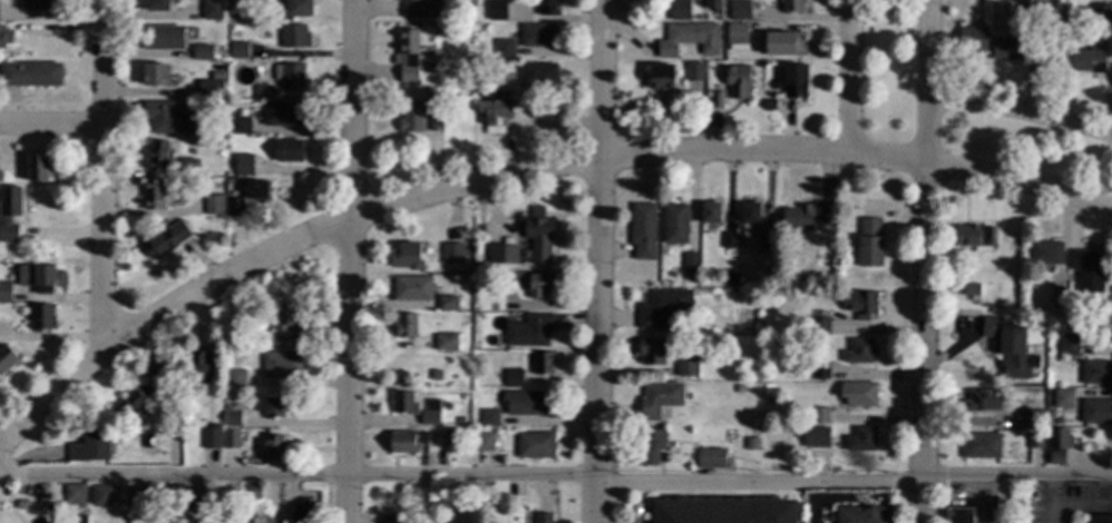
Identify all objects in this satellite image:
building: (1022, 0)
building: (266, 1)
building: (710, 3)
building: (39, 4)
building: (157, 4)
building: (793, 6)
building: (548, 7)
building: (297, 8)
building: (420, 8)
building: (212, 9)
building: (740, 9)
building: (497, 10)
building: (1065, 11)
building: (1101, 12)
building: (687, 14)
building: (232, 16)
building: (700, 17)
building: (235, 30)
building: (539, 34)
building: (4, 36)
building: (293, 36)
building: (694, 36)
building: (737, 36)
building: (164, 37)
building: (974, 39)
building: (784, 43)
building: (505, 48)
building: (237, 49)
building: (1008, 49)
building: (203, 52)
building: (409, 55)
building: (1046, 56)
building: (1090, 60)
building: (31, 73)
building: (156, 75)
building: (290, 75)
building: (538, 75)
road: (849, 75)
building: (693, 76)
road: (604, 78)
building: (662, 78)
building: (679, 78)
building: (738, 81)
building: (796, 81)
building: (222, 82)
road: (929, 82)
building: (209, 88)
building: (487, 89)
building: (263, 91)
building: (429, 91)
building: (708, 93)
building: (771, 96)
building: (700, 98)
building: (716, 99)
road: (1022, 111)
building: (282, 114)
building: (495, 115)
building: (411, 117)
building: (168, 118)
building: (436, 121)
building: (241, 125)
road: (53, 126)
building: (217, 126)
building: (287, 150)
road: (726, 152)
building: (157, 156)
road: (887, 158)
building: (244, 165)
building: (189, 166)
building: (38, 167)
road: (106, 171)
building: (1, 176)
road: (1020, 184)
building: (256, 189)
building: (153, 194)
building: (214, 205)
building: (233, 206)
building: (10, 213)
building: (711, 213)
building: (751, 213)
building: (826, 214)
building: (798, 217)
building: (675, 224)
building: (643, 230)
building: (537, 233)
building: (974, 237)
building: (166, 238)
building: (729, 240)
building: (767, 240)
building: (870, 243)
road: (274, 249)
building: (452, 253)
building: (501, 253)
building: (1046, 253)
building: (406, 256)
road: (353, 261)
building: (691, 263)
building: (482, 265)
building: (1087, 269)
building: (37, 276)
building: (508, 282)
building: (802, 282)
building: (540, 284)
building: (412, 287)
building: (972, 289)
building: (1111, 289)
building: (4, 290)
building: (723, 290)
building: (1059, 297)
building: (1110, 298)
building: (448, 302)
building: (860, 303)
building: (663, 306)
building: (42, 316)
building: (287, 320)
building: (703, 320)
building: (1022, 320)
building: (800, 322)
building: (406, 325)
building: (820, 326)
building: (530, 329)
building: (1100, 330)
building: (738, 332)
building: (1111, 335)
road: (599, 339)
building: (494, 341)
building: (447, 342)
road: (926, 344)
building: (1070, 344)
building: (1009, 348)
building: (651, 351)
building: (860, 351)
building: (6, 357)
building: (1061, 357)
building: (544, 363)
building: (284, 364)
building: (197, 365)
building: (687, 366)
building: (820, 371)
building: (1096, 373)
building: (435, 374)
building: (234, 377)
building: (514, 377)
building: (164, 388)
building: (739, 388)
building: (770, 392)
building: (859, 393)
building: (689, 395)
building: (661, 398)
building: (1063, 398)
building: (136, 399)
building: (985, 401)
building: (404, 402)
building: (533, 402)
building: (275, 407)
building: (804, 411)
building: (1096, 412)
building: (819, 415)
building: (1050, 415)
building: (232, 417)
building: (430, 417)
building: (489, 417)
building: (1035, 418)
building: (461, 420)
building: (494, 435)
building: (822, 435)
building: (208, 436)
building: (231, 437)
building: (1034, 438)
building: (862, 440)
building: (484, 441)
building: (407, 442)
building: (749, 442)
building: (536, 445)
building: (652, 445)
building: (274, 446)
building: (981, 446)
building: (1057, 446)
building: (91, 447)
building: (711, 457)
road: (556, 470)
building: (241, 489)
building: (30, 491)
building: (43, 492)
building: (254, 492)
building: (74, 493)
building: (103, 495)
building: (139, 496)
building: (178, 496)
road: (1051, 497)
building: (21, 502)
building: (197, 504)
road: (1081, 504)
building: (47, 511)
building: (725, 511)
building: (303, 512)
building: (430, 515)
building: (864, 515)
building: (959, 515)
building: (391, 519)
building: (543, 519)
building: (1100, 519)

